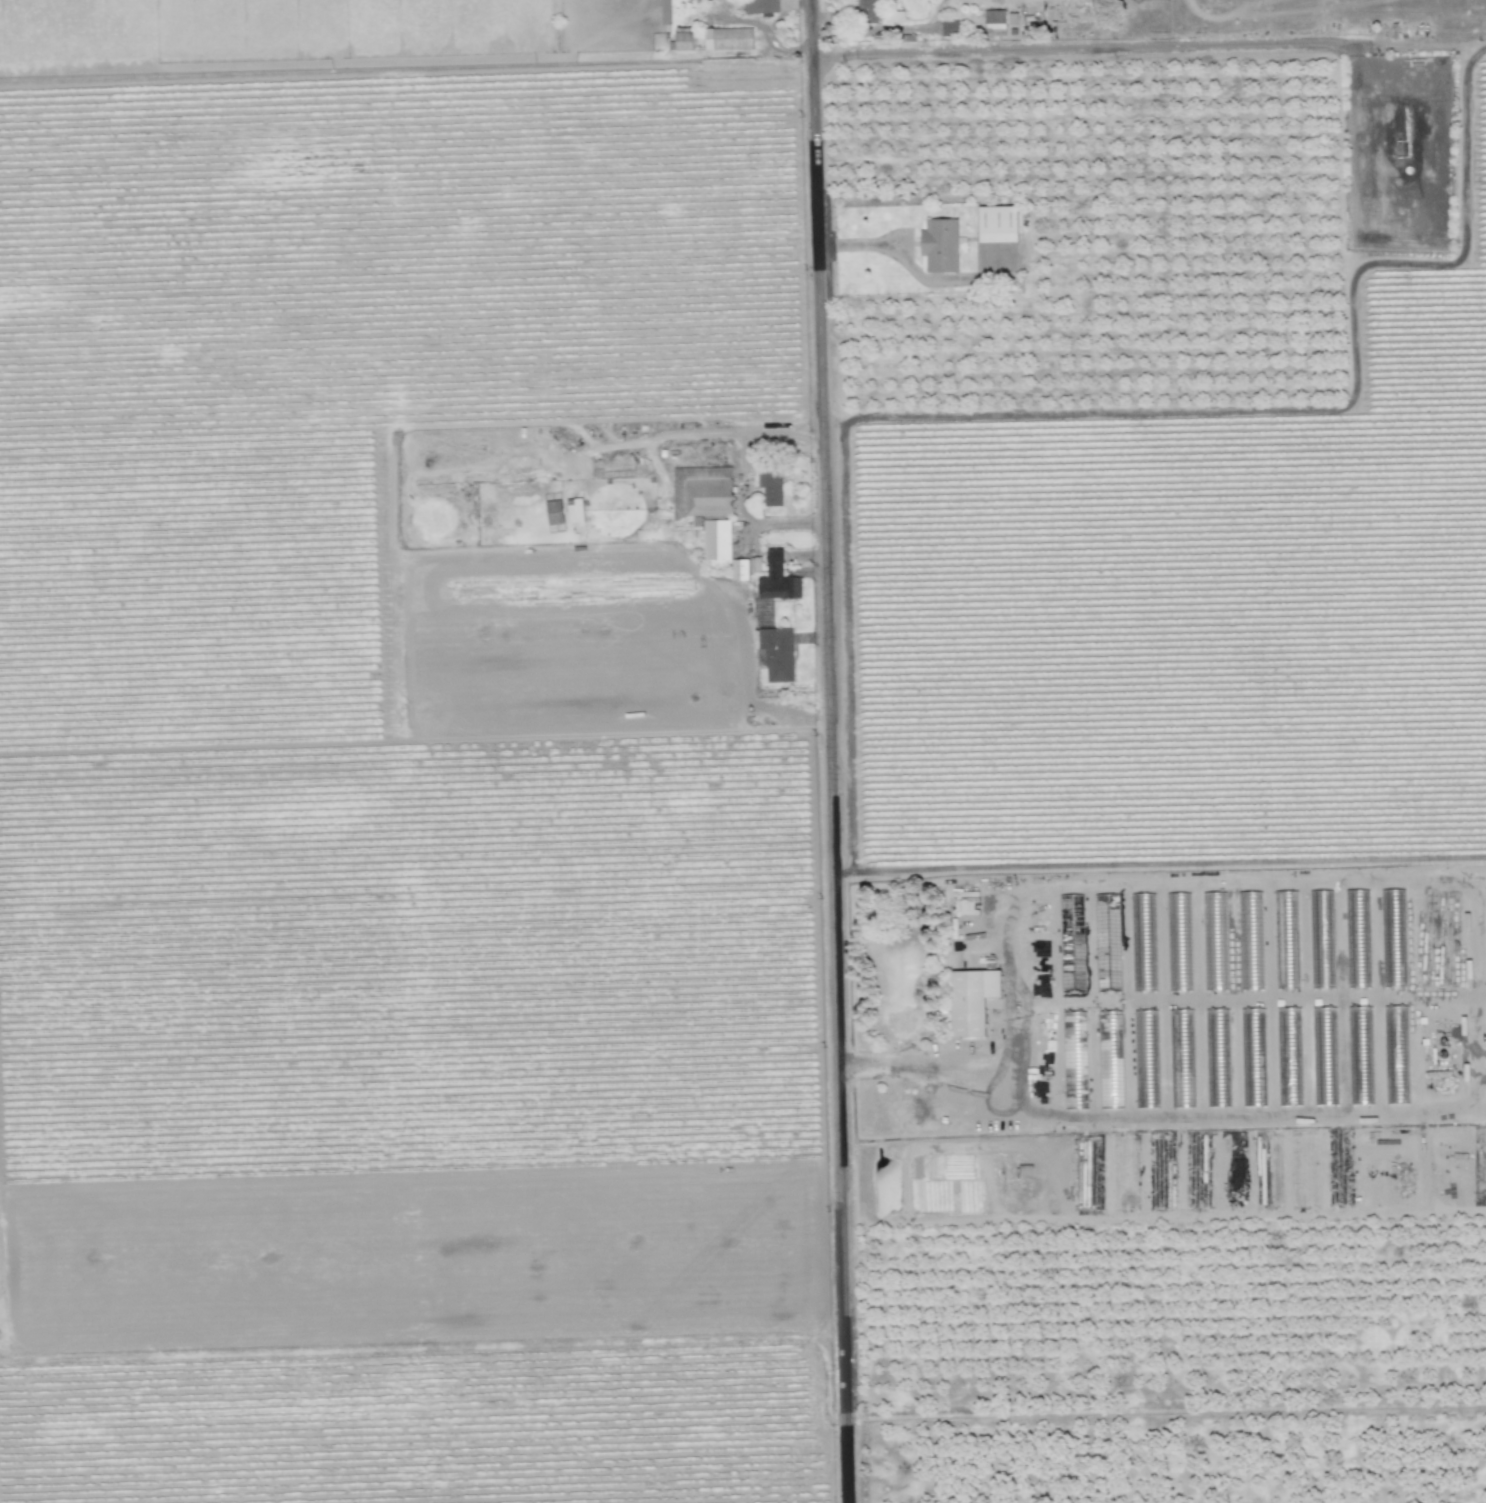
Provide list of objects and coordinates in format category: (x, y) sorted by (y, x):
building: (761, 7)
building: (866, 11)
building: (994, 23)
building: (950, 28)
building: (684, 39)
building: (728, 39)
road: (1472, 41)
road: (1082, 46)
building: (998, 224)
building: (940, 246)
building: (770, 483)
building: (703, 492)
building: (574, 510)
building: (553, 512)
building: (716, 540)
building: (740, 570)
building: (777, 579)
building: (777, 655)
road: (828, 751)
building: (1482, 918)
building: (1393, 938)
building: (1322, 939)
building: (1358, 939)
building: (1251, 940)
building: (1286, 940)
building: (1179, 941)
building: (1214, 941)
building: (1143, 942)
building: (971, 1000)
building: (1360, 1055)
building: (1396, 1055)
building: (1289, 1056)
building: (1325, 1056)
building: (1253, 1057)
building: (1182, 1058)
building: (1218, 1058)
building: (1110, 1059)
building: (1146, 1059)
building: (1074, 1060)
road: (999, 1062)

